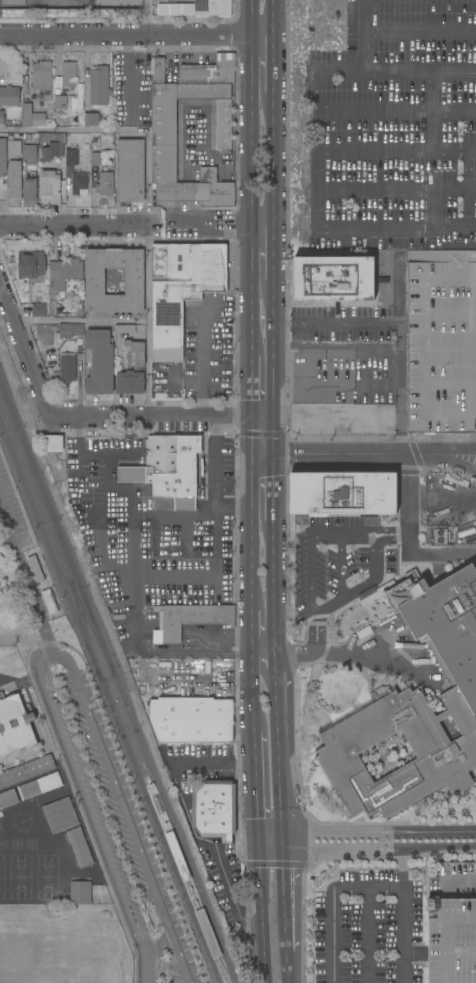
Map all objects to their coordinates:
building: (13, 2)
power substation: (71, 5)
building: (212, 8)
road: (272, 18)
road: (420, 32)
road: (136, 34)
road: (365, 35)
road: (56, 60)
road: (272, 64)
building: (158, 70)
road: (86, 71)
building: (210, 71)
building: (69, 74)
building: (41, 75)
building: (142, 76)
building: (127, 80)
building: (98, 86)
building: (8, 95)
building: (48, 98)
building: (60, 101)
road: (320, 109)
road: (397, 111)
building: (31, 116)
building: (135, 116)
building: (2, 117)
building: (91, 119)
building: (61, 122)
parking lot: (396, 128)
building: (164, 132)
building: (14, 147)
building: (53, 147)
road: (247, 152)
building: (30, 154)
building: (3, 157)
building: (71, 157)
road: (272, 159)
building: (95, 160)
road: (201, 160)
building: (130, 171)
building: (15, 179)
building: (79, 183)
building: (105, 184)
building: (50, 186)
road: (466, 186)
road: (397, 188)
building: (29, 191)
road: (77, 224)
road: (453, 225)
road: (221, 226)
road: (414, 226)
road: (273, 252)
road: (456, 261)
building: (30, 264)
building: (64, 273)
building: (334, 279)
building: (95, 281)
building: (182, 290)
building: (59, 308)
building: (38, 310)
road: (397, 316)
road: (81, 320)
road: (148, 321)
road: (335, 326)
building: (125, 329)
road: (247, 329)
building: (59, 331)
road: (202, 341)
building: (442, 347)
parking lot: (442, 347)
road: (273, 348)
road: (25, 349)
parking lot: (208, 349)
parking lot: (347, 356)
building: (100, 362)
building: (66, 368)
building: (132, 370)
road: (308, 371)
road: (248, 386)
road: (162, 418)
traffic signals: (249, 418)
traffic signals: (274, 418)
road: (274, 436)
building: (53, 446)
road: (350, 454)
road: (464, 454)
traffic signals: (250, 455)
traffic signals: (274, 455)
building: (72, 464)
road: (463, 464)
building: (168, 468)
building: (456, 479)
railway: (40, 488)
road: (274, 491)
building: (343, 493)
railway: (35, 494)
railway: (33, 510)
parking lot: (15, 512)
road: (250, 513)
road: (382, 529)
building: (440, 536)
road: (408, 538)
road: (392, 541)
parking lot: (333, 562)
road: (341, 566)
building: (35, 568)
park: (26, 572)
road: (28, 579)
road: (275, 591)
building: (49, 601)
road: (312, 610)
building: (192, 619)
railway: (92, 629)
railway: (85, 632)
road: (253, 633)
road: (25, 640)
road: (54, 644)
building: (398, 646)
building: (413, 646)
road: (259, 656)
road: (371, 660)
road: (278, 661)
road: (278, 679)
road: (295, 684)
road: (254, 691)
road: (236, 700)
building: (190, 707)
building: (415, 708)
road: (279, 717)
building: (14, 725)
building: (39, 765)
building: (12, 776)
road: (256, 783)
building: (39, 786)
railway: (157, 787)
railway: (142, 789)
road: (282, 790)
building: (8, 798)
road: (84, 800)
building: (214, 809)
building: (60, 815)
road: (127, 815)
road: (186, 819)
parking lot: (113, 827)
road: (380, 832)
road: (272, 839)
traffic signals: (285, 839)
traffic signals: (259, 840)
road: (439, 846)
building: (80, 847)
road: (342, 851)
road: (21, 864)
road: (276, 864)
road: (403, 867)
road: (452, 881)
building: (80, 892)
road: (287, 898)
road: (334, 899)
road: (263, 911)
road: (448, 922)
building: (452, 924)
parking lot: (452, 924)
parking lot: (370, 928)
building: (206, 931)
road: (402, 933)
road: (367, 934)
road: (157, 944)
road: (448, 955)
railway: (220, 956)
road: (144, 967)
road: (222, 970)
road: (289, 970)

